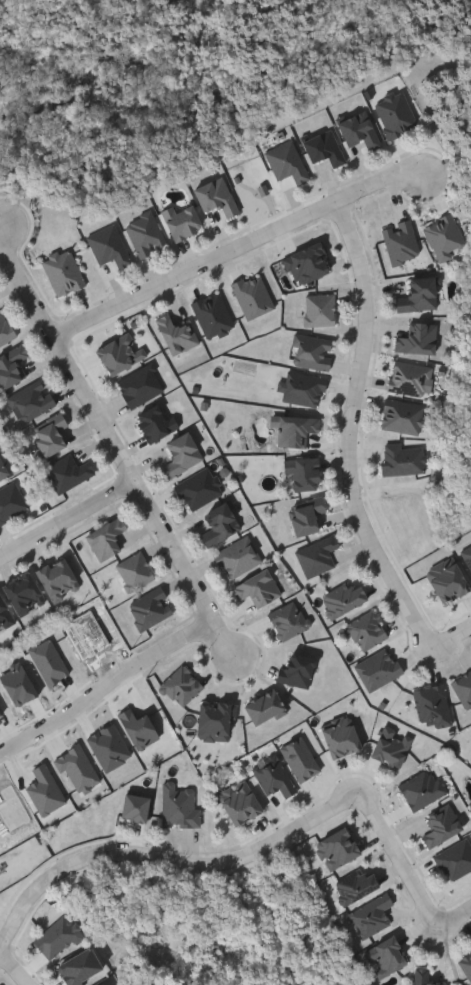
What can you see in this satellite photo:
building: (397, 114)
building: (361, 129)
building: (326, 147)
building: (289, 165)
building: (217, 195)
building: (183, 220)
building: (147, 234)
building: (446, 236)
building: (402, 241)
building: (110, 246)
road: (239, 247)
building: (64, 271)
building: (420, 294)
building: (255, 296)
building: (321, 308)
building: (214, 314)
building: (5, 329)
building: (178, 333)
building: (419, 339)
building: (314, 351)
building: (121, 352)
building: (12, 365)
building: (411, 377)
building: (141, 385)
building: (304, 388)
building: (33, 400)
building: (404, 418)
building: (157, 422)
building: (298, 429)
road: (360, 431)
building: (53, 434)
road: (110, 442)
building: (183, 454)
building: (405, 458)
building: (4, 471)
building: (69, 472)
building: (305, 473)
building: (200, 488)
building: (12, 502)
building: (308, 514)
road: (66, 521)
building: (221, 524)
building: (107, 538)
building: (319, 555)
building: (239, 557)
building: (468, 558)
building: (135, 571)
building: (59, 579)
building: (449, 581)
building: (259, 588)
building: (25, 594)
building: (344, 598)
building: (152, 607)
building: (5, 614)
building: (290, 620)
building: (368, 630)
road: (455, 638)
building: (299, 669)
building: (379, 669)
building: (183, 686)
road: (106, 689)
building: (265, 706)
building: (216, 719)
building: (302, 758)
building: (276, 777)
building: (424, 788)
building: (180, 806)
building: (443, 826)
road: (395, 859)
building: (456, 859)
road: (168, 862)
road: (451, 918)
building: (467, 964)
road: (15, 968)
building: (427, 977)
building: (102, 984)

